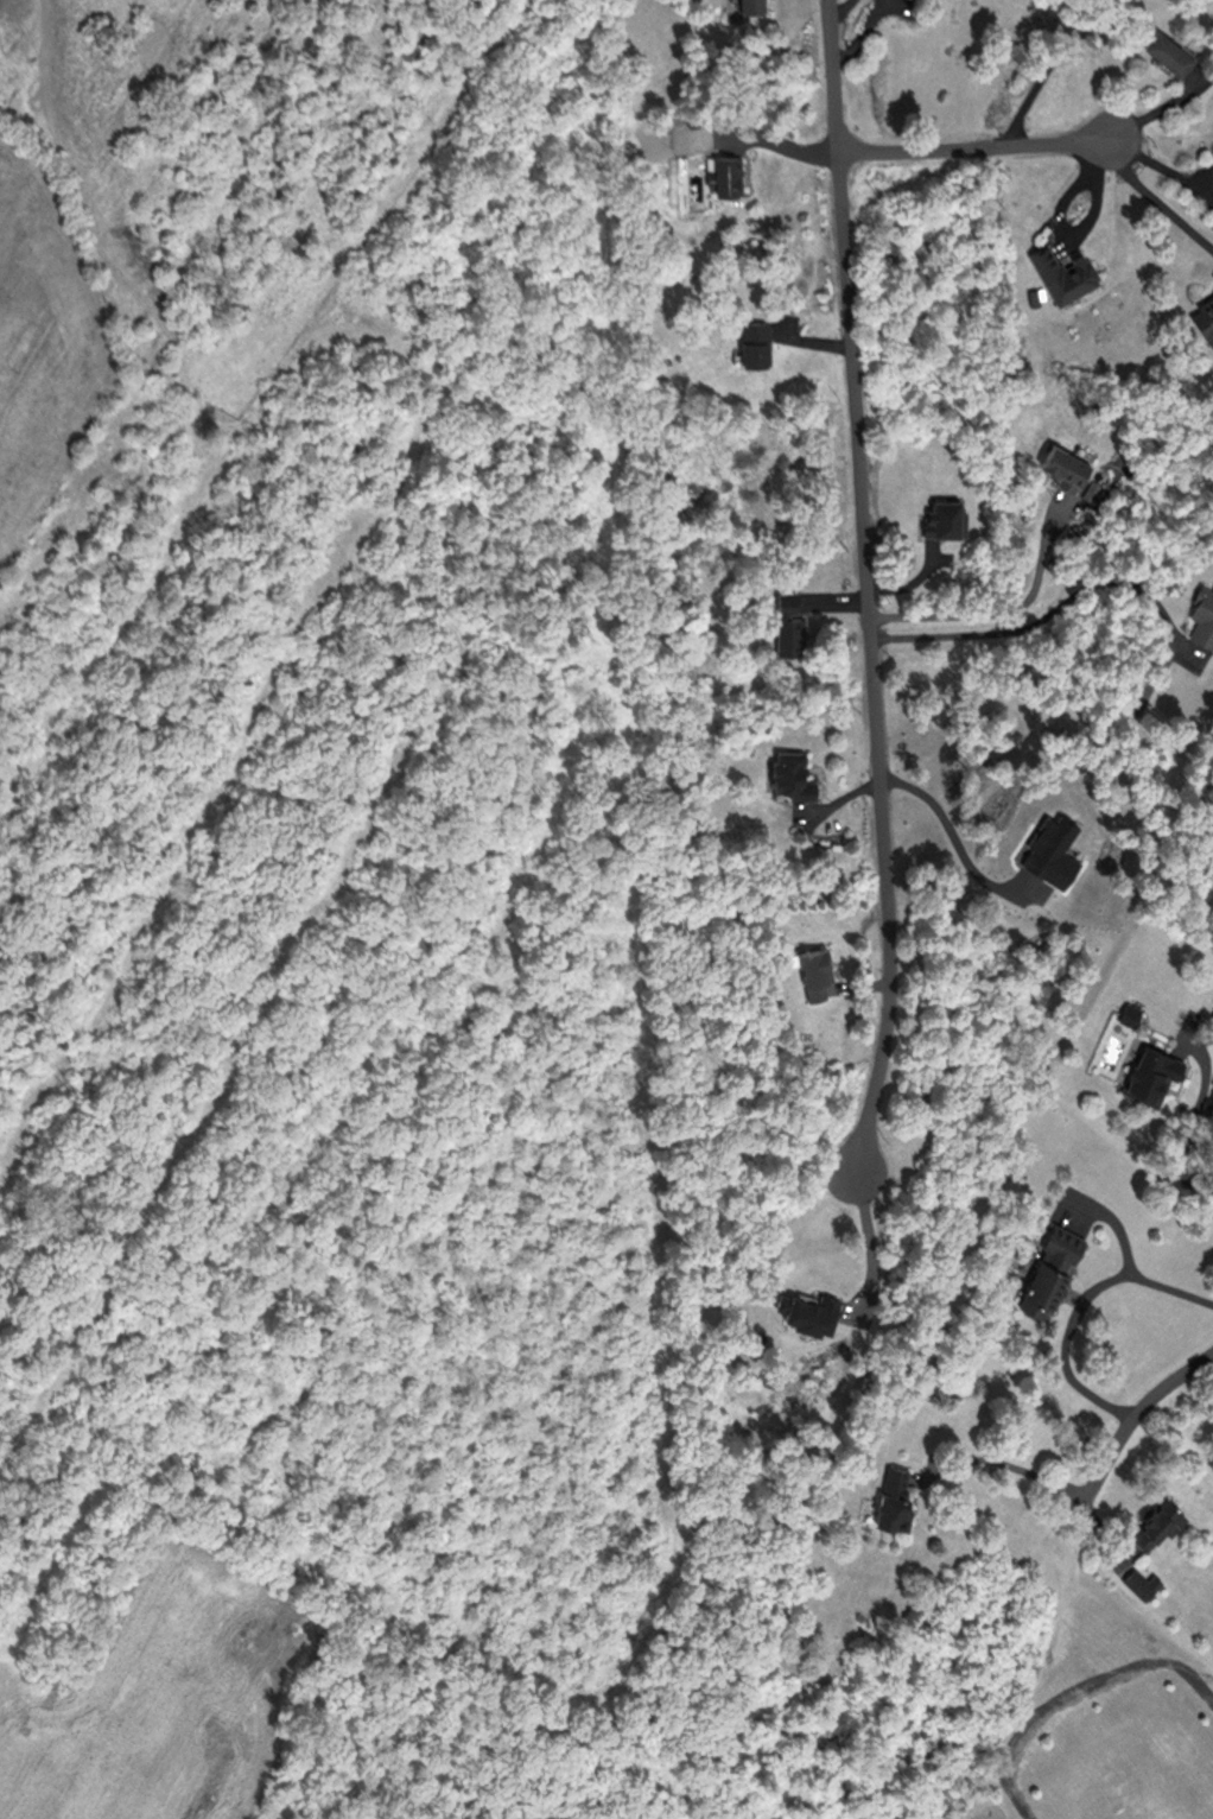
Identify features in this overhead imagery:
building: (750, 4)
building: (1168, 49)
building: (401, 56)
road: (1029, 71)
road: (974, 145)
building: (725, 171)
road: (1157, 197)
building: (1065, 272)
building: (1206, 317)
building: (755, 341)
building: (1063, 462)
building: (945, 515)
road: (866, 587)
road: (1006, 608)
road: (1050, 610)
building: (1202, 614)
building: (789, 622)
building: (792, 775)
building: (815, 971)
building: (1149, 1072)
road: (1188, 1127)
road: (865, 1248)
building: (1049, 1269)
road: (1075, 1303)
road: (1138, 1409)
road: (1008, 1462)
building: (894, 1495)
building: (1157, 1522)
building: (1138, 1580)

